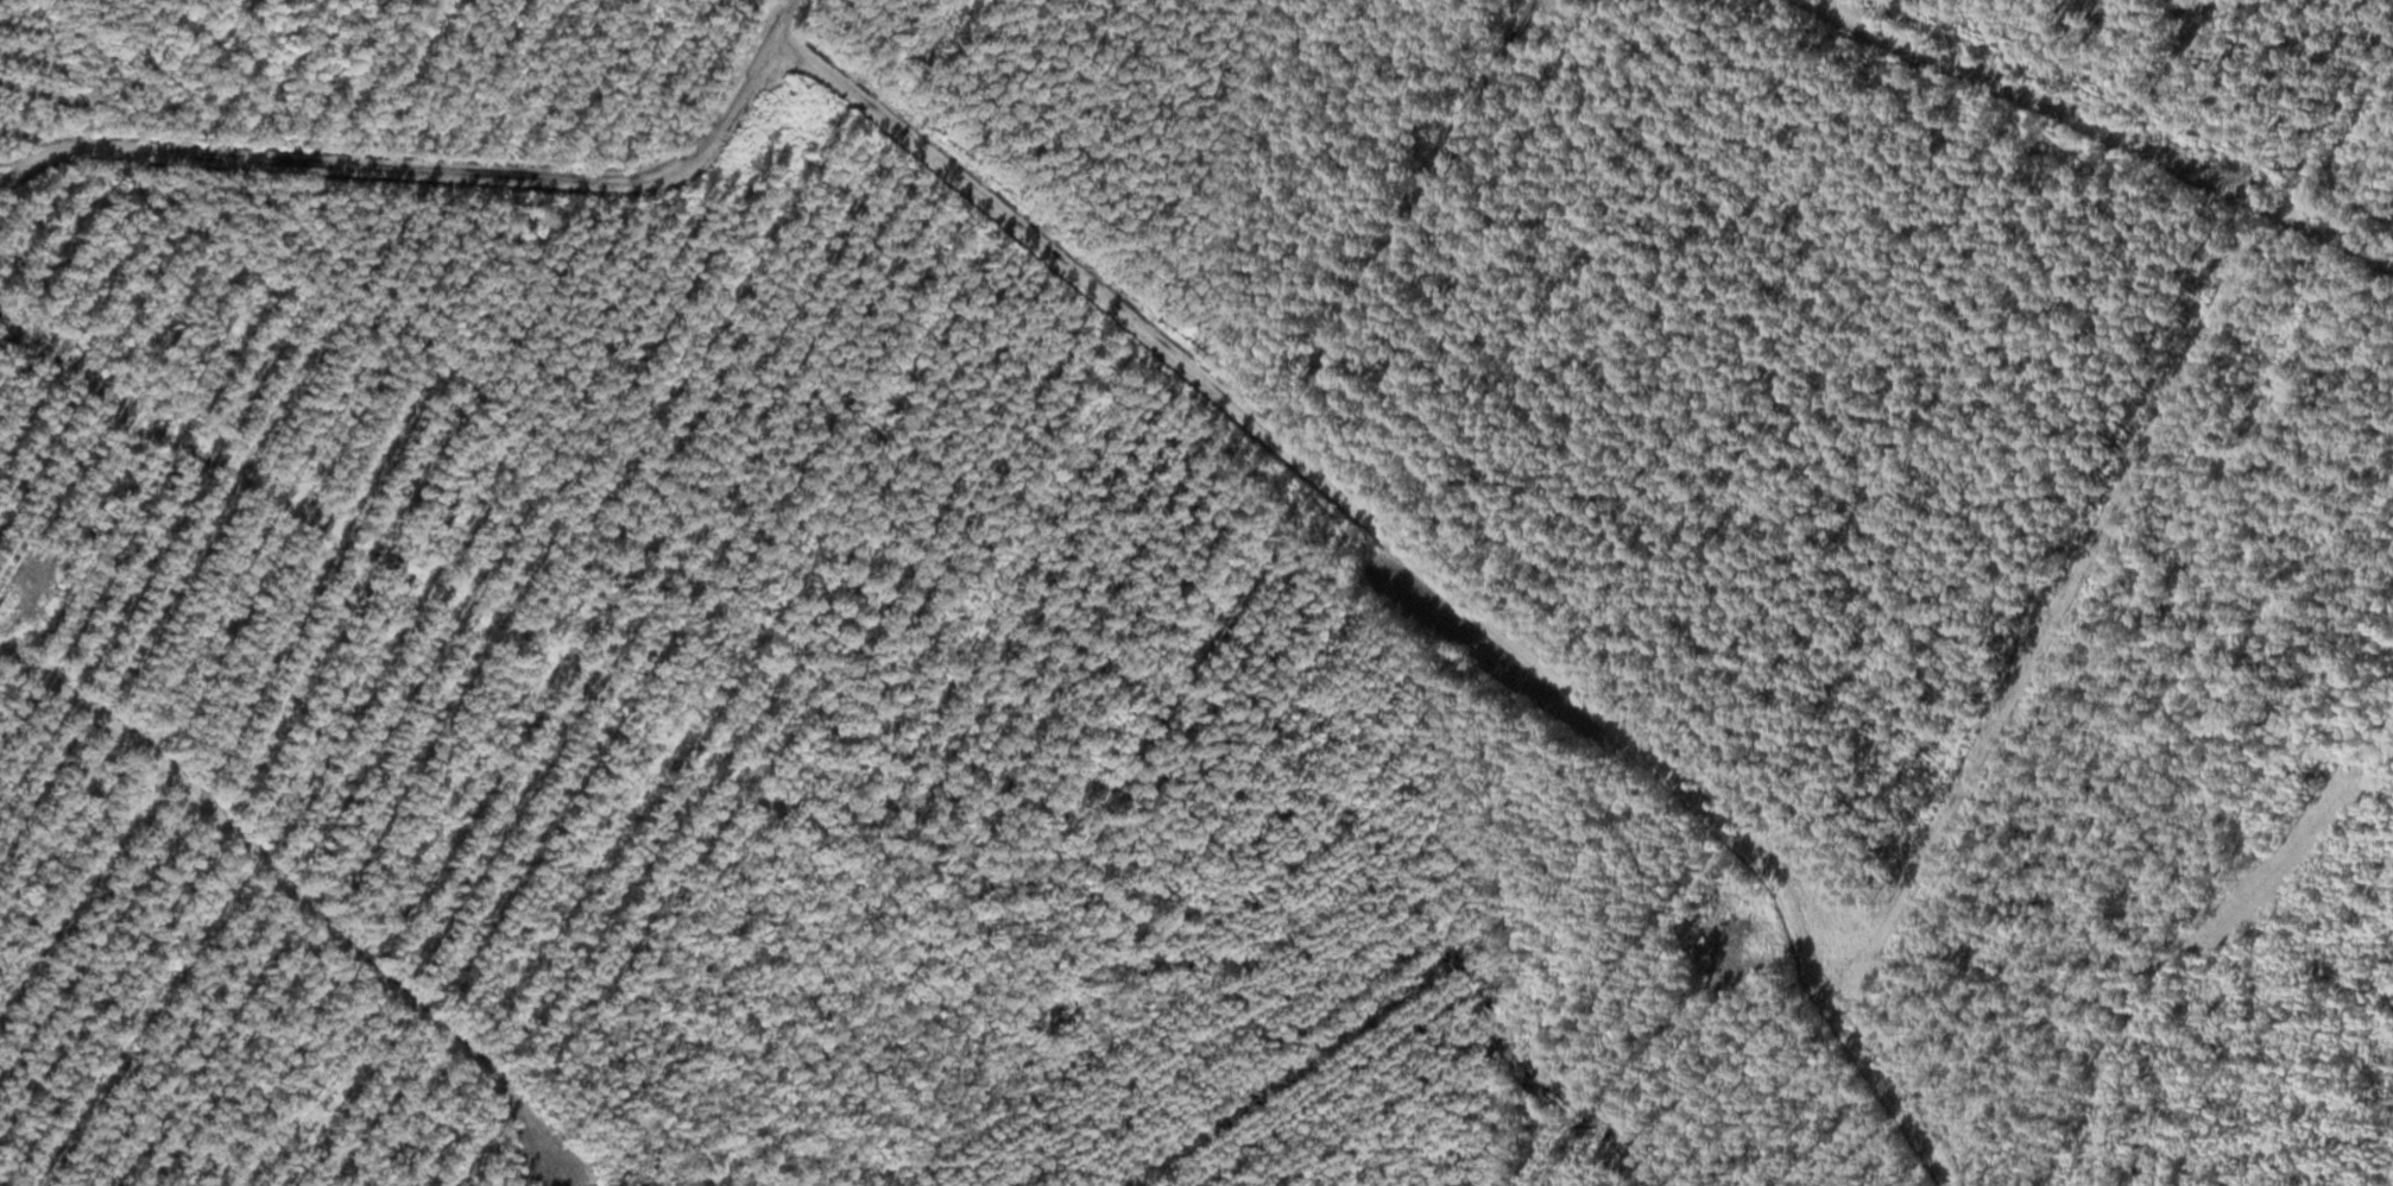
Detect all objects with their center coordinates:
road: (2113, 128)
road: (438, 169)
road: (1423, 567)
road: (258, 852)

